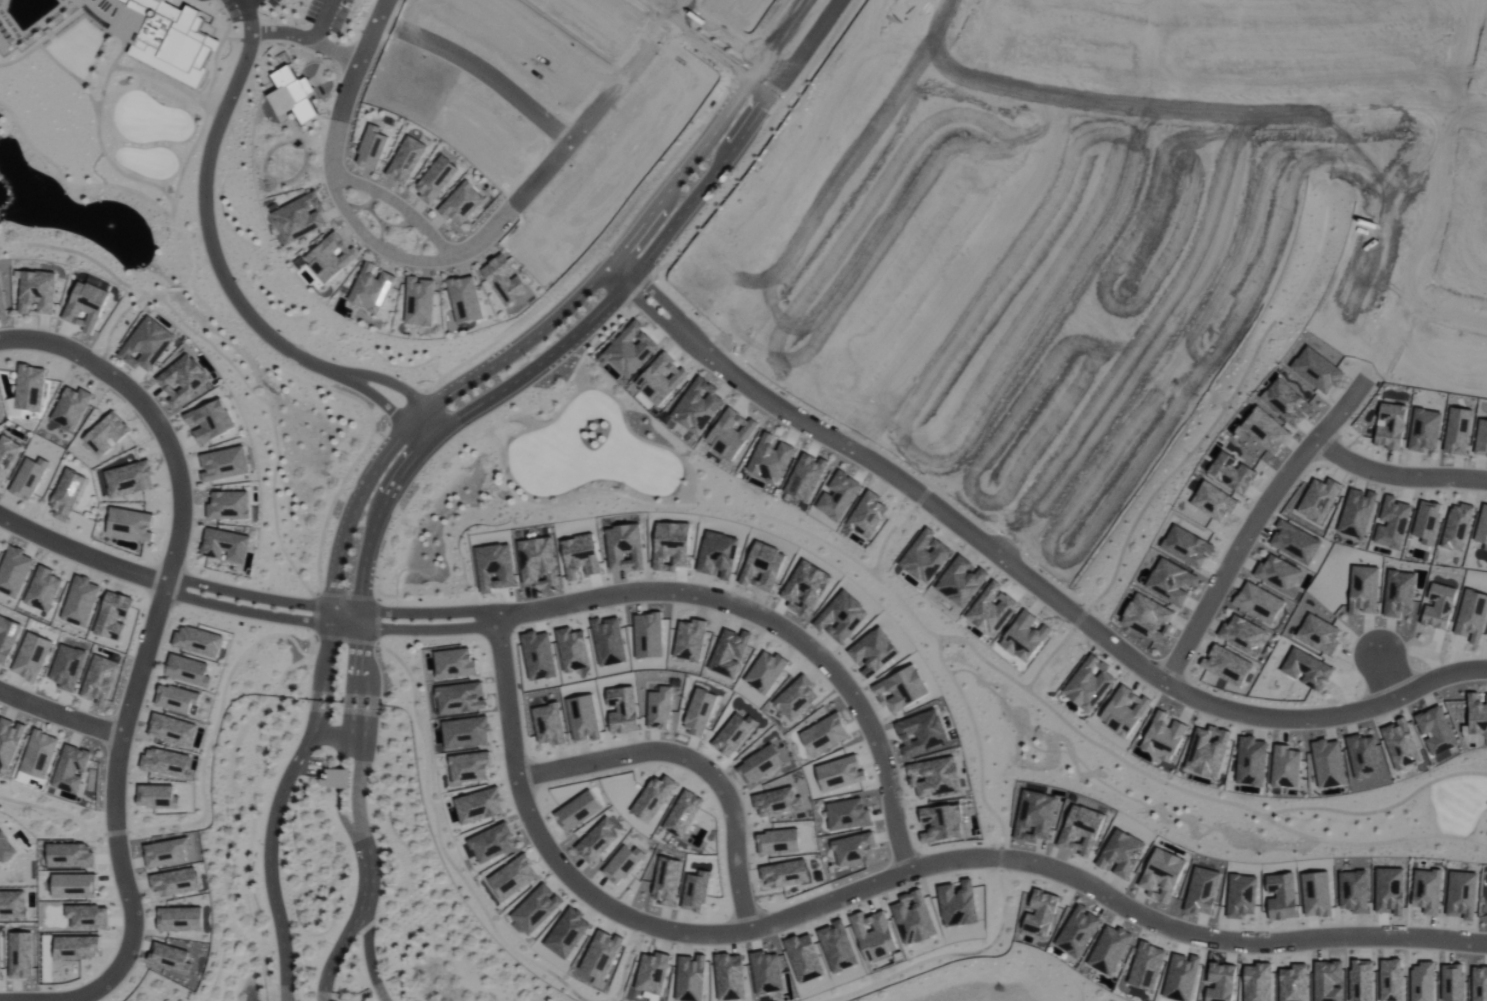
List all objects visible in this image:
road: (247, 2)
road: (681, 7)
road: (246, 16)
road: (322, 21)
road: (775, 37)
road: (306, 40)
road: (808, 45)
road: (713, 46)
road: (483, 68)
building: (293, 96)
building: (373, 148)
building: (407, 160)
building: (437, 179)
road: (403, 200)
building: (463, 203)
building: (300, 217)
road: (213, 236)
road: (449, 250)
building: (331, 257)
road: (606, 261)
building: (505, 280)
building: (372, 289)
building: (38, 291)
road: (617, 293)
building: (466, 300)
building: (2, 301)
building: (420, 302)
road: (390, 382)
building: (30, 387)
building: (72, 407)
road: (387, 408)
road: (154, 409)
road: (430, 416)
building: (107, 433)
building: (7, 456)
building: (224, 463)
road: (1400, 473)
building: (29, 477)
building: (129, 478)
building: (68, 493)
road: (357, 496)
building: (229, 504)
building: (130, 523)
road: (1258, 527)
road: (79, 544)
building: (226, 544)
building: (14, 571)
road: (1020, 572)
building: (43, 588)
road: (245, 594)
building: (82, 601)
road: (412, 611)
building: (114, 615)
road: (326, 624)
building: (7, 637)
building: (199, 640)
building: (32, 656)
building: (68, 666)
building: (188, 670)
building: (101, 679)
road: (1395, 679)
building: (177, 697)
road: (61, 707)
road: (360, 723)
road: (336, 725)
building: (173, 729)
building: (10, 740)
building: (40, 753)
building: (166, 761)
road: (696, 762)
building: (72, 768)
building: (336, 777)
road: (280, 801)
road: (121, 837)
building: (6, 849)
building: (167, 852)
road: (919, 861)
building: (176, 882)
road: (611, 901)
building: (13, 904)
building: (89, 916)
building: (77, 947)
building: (22, 954)
road: (372, 955)
building: (0, 958)
building: (171, 958)

